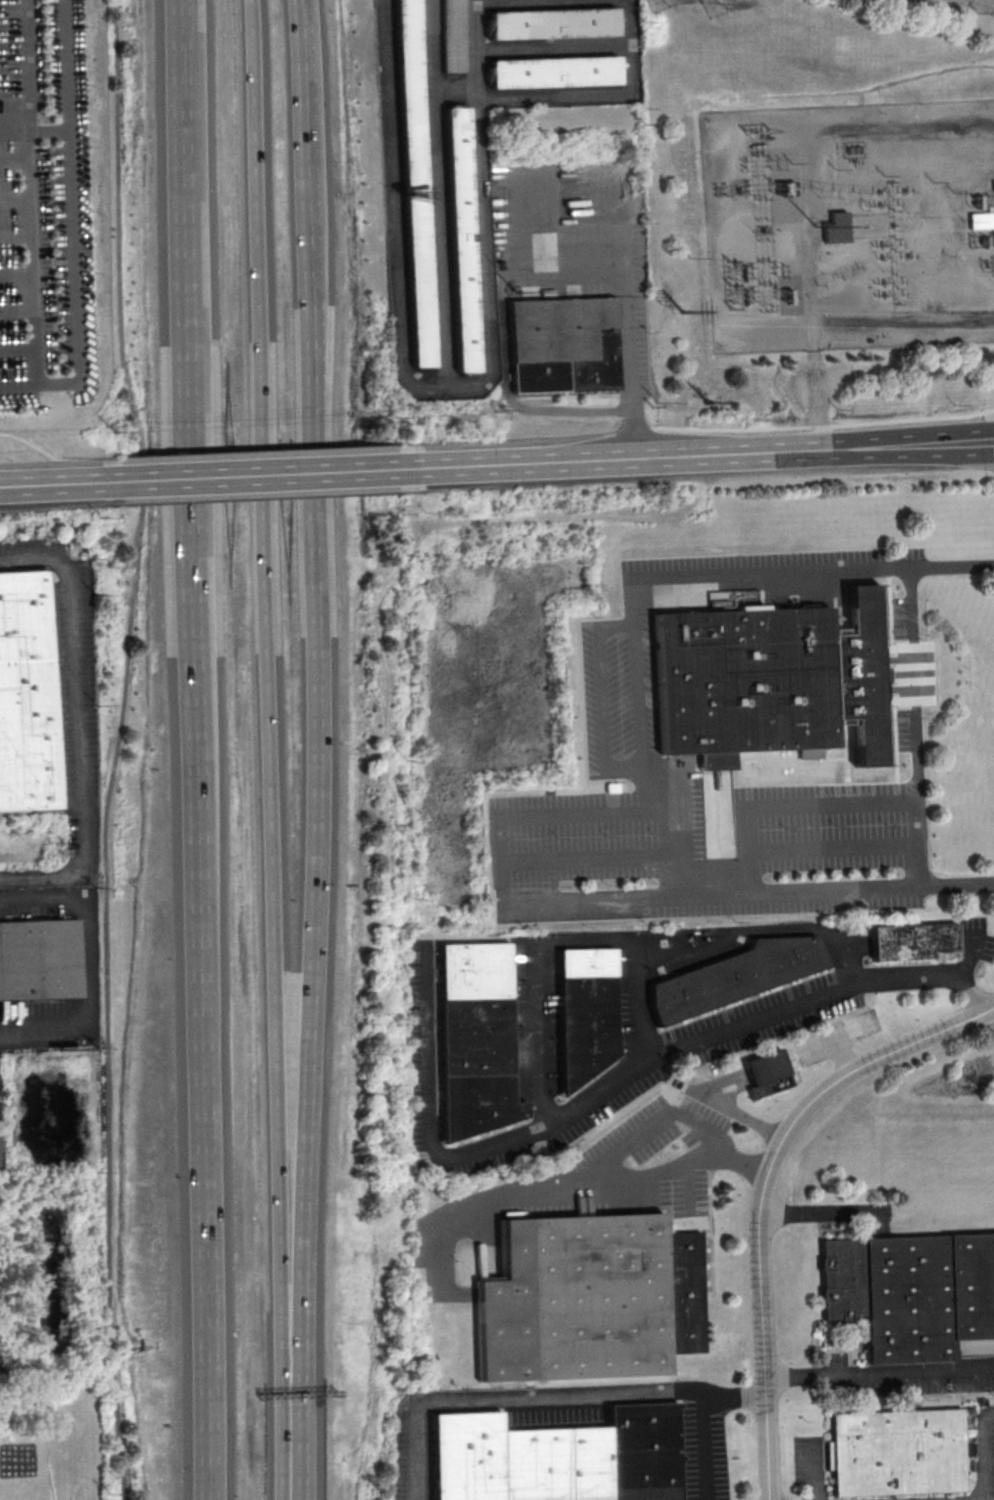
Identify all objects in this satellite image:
power tower: (654, 0)
power tower: (713, 3)
road: (189, 21)
building: (553, 22)
building: (458, 36)
road: (480, 47)
road: (552, 48)
road: (65, 63)
road: (437, 67)
building: (554, 72)
road: (600, 93)
road: (14, 119)
road: (805, 134)
road: (15, 157)
building: (419, 183)
road: (316, 197)
road: (15, 199)
road: (31, 212)
building: (981, 219)
power substation: (852, 227)
building: (838, 228)
road: (16, 236)
building: (462, 240)
road: (71, 255)
road: (626, 270)
road: (16, 273)
road: (17, 306)
power tower: (682, 313)
road: (903, 319)
building: (565, 344)
road: (18, 349)
road: (403, 371)
road: (505, 381)
road: (815, 386)
road: (824, 424)
road: (27, 443)
road: (702, 452)
road: (255, 475)
road: (49, 483)
road: (264, 572)
road: (622, 624)
road: (127, 672)
building: (773, 682)
building: (24, 696)
road: (602, 696)
road: (79, 724)
road: (912, 724)
road: (626, 769)
road: (199, 771)
road: (790, 805)
road: (573, 806)
road: (680, 832)
road: (832, 851)
road: (590, 858)
road: (639, 937)
building: (913, 941)
road: (312, 947)
road: (966, 955)
building: (37, 960)
road: (83, 963)
building: (735, 976)
road: (636, 999)
building: (586, 1012)
building: (477, 1039)
road: (833, 1042)
building: (767, 1073)
road: (615, 1079)
road: (734, 1113)
road: (660, 1122)
road: (588, 1175)
road: (761, 1190)
road: (818, 1214)
road: (278, 1277)
building: (912, 1293)
building: (589, 1298)
road: (113, 1354)
road: (878, 1371)
road: (542, 1396)
road: (119, 1430)
road: (703, 1446)
road: (981, 1450)
building: (895, 1452)
road: (283, 1455)
building: (556, 1457)

